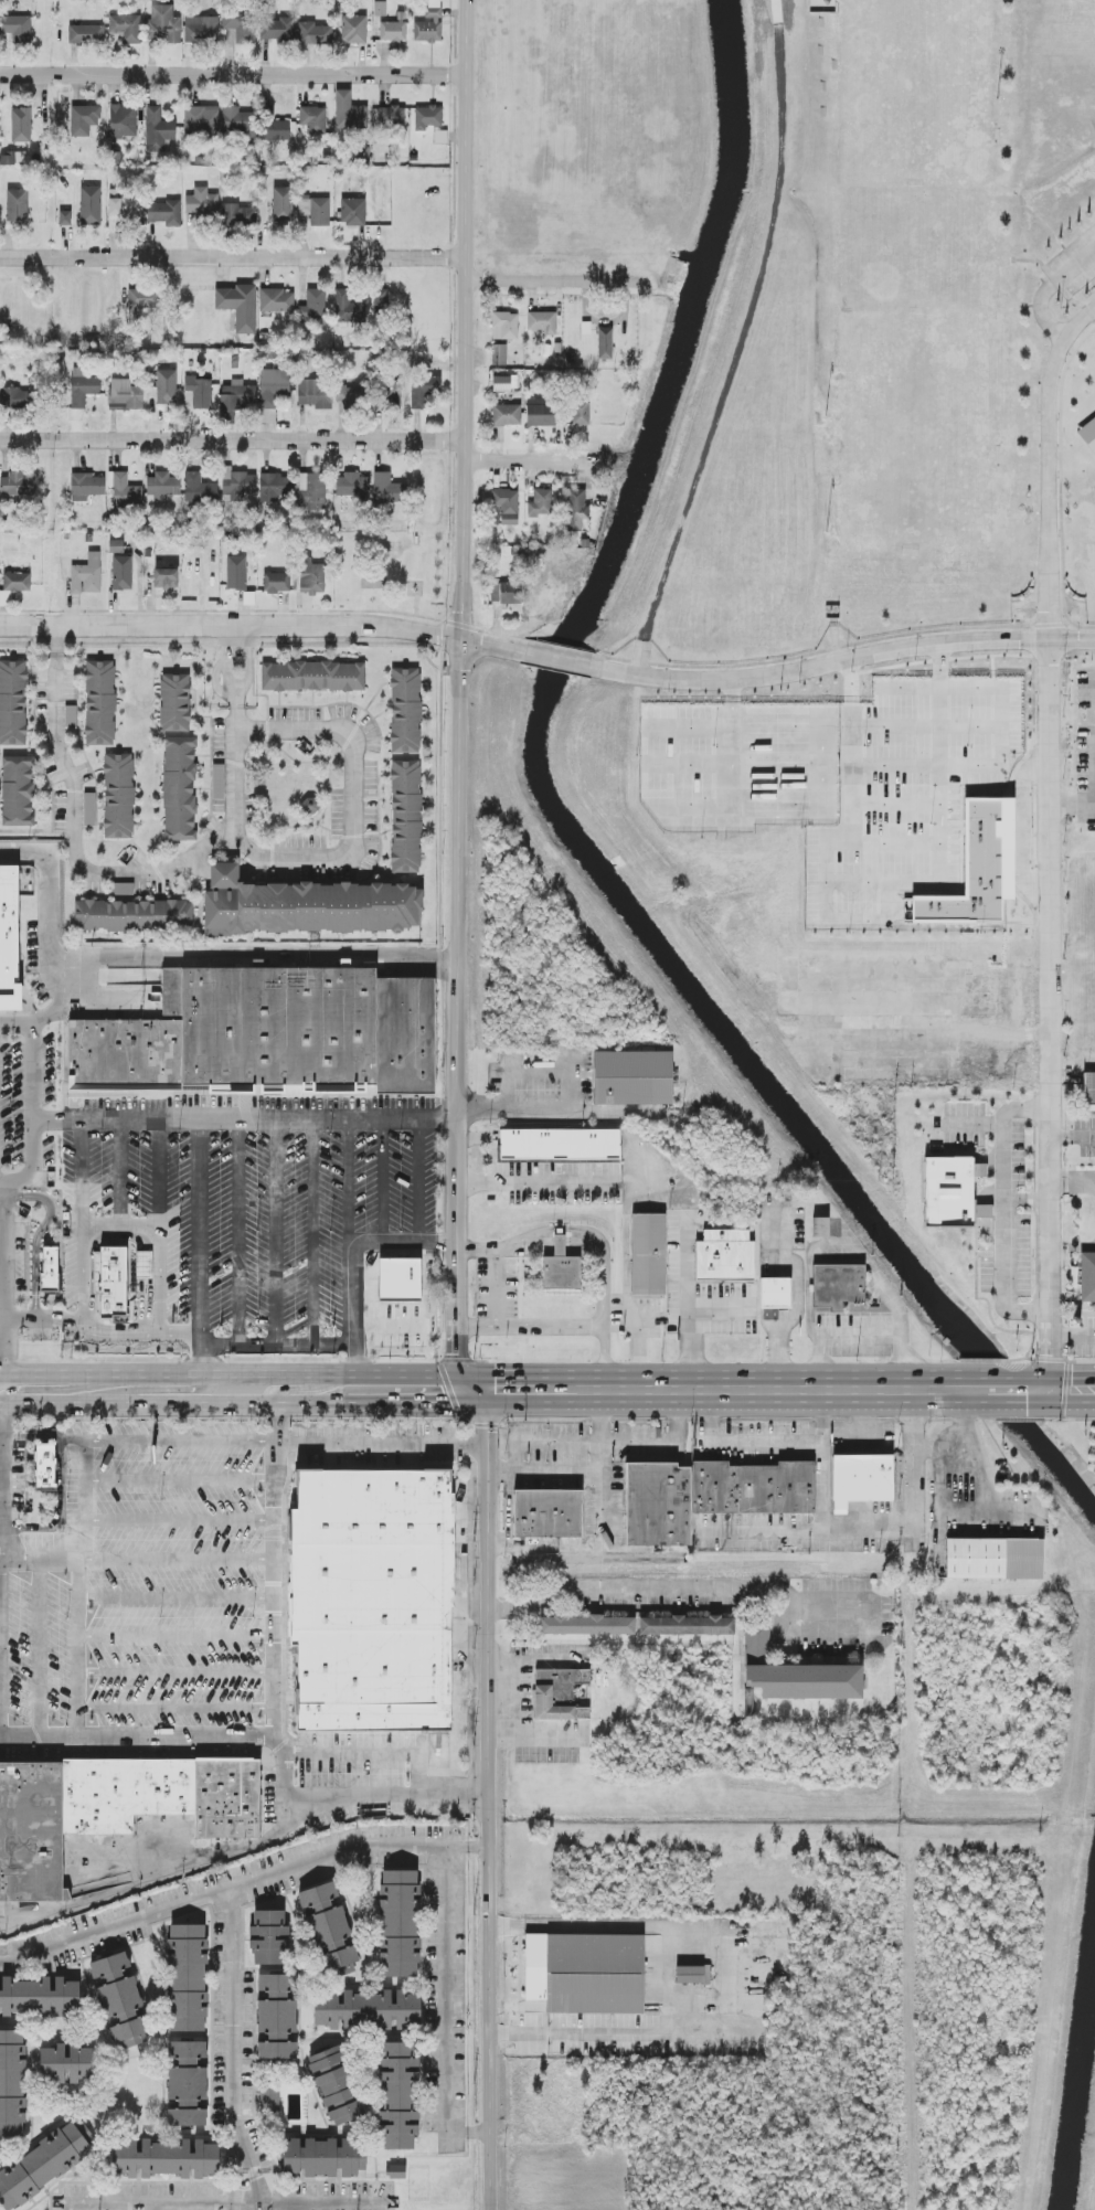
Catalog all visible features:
building: (380, 8)
building: (429, 23)
building: (163, 24)
building: (241, 26)
building: (17, 28)
building: (126, 28)
building: (276, 29)
building: (201, 30)
building: (353, 30)
building: (392, 31)
building: (313, 33)
building: (85, 34)
road: (233, 75)
park: (916, 92)
street lamp: (998, 103)
building: (349, 111)
building: (391, 116)
building: (427, 117)
building: (83, 119)
building: (312, 119)
building: (201, 121)
building: (123, 123)
road: (1093, 123)
building: (238, 124)
building: (21, 125)
road: (466, 128)
building: (158, 129)
building: (276, 130)
building: (361, 153)
building: (20, 157)
building: (201, 202)
building: (17, 205)
building: (283, 205)
building: (89, 206)
building: (315, 210)
building: (123, 212)
building: (163, 212)
building: (353, 212)
building: (238, 215)
building: (64, 217)
road: (232, 256)
road: (464, 268)
road: (552, 281)
road: (1055, 281)
road: (1048, 288)
building: (143, 298)
building: (275, 300)
building: (381, 300)
building: (313, 305)
building: (238, 306)
building: (349, 308)
building: (542, 321)
road: (744, 325)
building: (504, 326)
building: (605, 343)
building: (499, 354)
road: (463, 360)
building: (501, 383)
building: (166, 386)
building: (83, 387)
building: (423, 390)
building: (272, 392)
building: (196, 393)
building: (315, 393)
building: (394, 394)
building: (125, 395)
building: (350, 396)
building: (17, 399)
building: (235, 400)
building: (541, 412)
building: (580, 413)
building: (507, 415)
street lamp: (827, 415)
park: (912, 432)
building: (1088, 435)
road: (231, 439)
road: (461, 450)
road: (518, 461)
road: (1049, 466)
building: (17, 485)
building: (237, 485)
building: (351, 485)
building: (86, 486)
building: (162, 487)
building: (273, 487)
building: (387, 488)
building: (199, 489)
building: (126, 491)
building: (311, 491)
building: (540, 503)
building: (506, 507)
building: (574, 509)
street lamp: (827, 534)
building: (116, 546)
building: (121, 573)
building: (236, 573)
building: (86, 575)
building: (166, 578)
building: (313, 578)
building: (17, 582)
building: (276, 582)
building: (506, 593)
road: (230, 626)
road: (487, 645)
road: (641, 657)
road: (555, 658)
road: (844, 659)
road: (226, 660)
road: (248, 661)
building: (312, 676)
road: (215, 683)
road: (236, 700)
building: (12, 702)
building: (99, 702)
building: (174, 702)
building: (405, 710)
road: (852, 714)
building: (70, 716)
road: (236, 718)
road: (854, 772)
building: (217, 782)
building: (179, 788)
building: (18, 790)
building: (118, 796)
road: (1073, 803)
building: (310, 806)
building: (88, 809)
building: (405, 816)
road: (249, 849)
road: (199, 865)
road: (252, 867)
road: (224, 872)
road: (55, 878)
building: (123, 889)
building: (308, 906)
building: (132, 915)
road: (459, 926)
building: (14, 946)
road: (257, 958)
road: (1051, 1014)
road: (17, 1028)
building: (267, 1033)
road: (33, 1064)
building: (924, 1071)
building: (632, 1077)
building: (1088, 1092)
road: (514, 1107)
road: (245, 1118)
road: (1073, 1137)
building: (559, 1144)
road: (489, 1145)
road: (81, 1180)
road: (121, 1180)
road: (349, 1180)
road: (382, 1180)
road: (421, 1180)
road: (535, 1181)
road: (1073, 1182)
road: (14, 1186)
building: (953, 1192)
building: (1094, 1224)
building: (820, 1228)
road: (276, 1231)
road: (312, 1231)
road: (38, 1232)
road: (160, 1232)
road: (240, 1232)
road: (119, 1241)
road: (403, 1243)
road: (1073, 1245)
road: (506, 1246)
road: (559, 1247)
road: (840, 1251)
building: (648, 1254)
road: (200, 1255)
building: (724, 1255)
building: (143, 1265)
building: (561, 1267)
building: (50, 1269)
building: (1087, 1276)
building: (110, 1281)
building: (837, 1285)
road: (496, 1286)
road: (74, 1292)
building: (775, 1293)
building: (402, 1308)
road: (688, 1313)
road: (350, 1316)
road: (599, 1316)
road: (36, 1318)
road: (477, 1326)
road: (1073, 1337)
road: (212, 1345)
road: (390, 1350)
road: (604, 1352)
road: (139, 1390)
road: (625, 1391)
road: (997, 1391)
traffic signals: (1052, 1391)
road: (1060, 1391)
road: (914, 1422)
road: (42, 1432)
road: (181, 1438)
road: (663, 1441)
road: (545, 1442)
road: (384, 1443)
road: (975, 1451)
road: (890, 1452)
building: (45, 1467)
road: (545, 1470)
road: (181, 1480)
building: (860, 1481)
building: (708, 1495)
road: (83, 1501)
road: (509, 1507)
building: (547, 1512)
road: (182, 1520)
road: (605, 1531)
building: (993, 1559)
road: (180, 1562)
road: (39, 1563)
road: (680, 1592)
road: (180, 1597)
building: (379, 1597)
building: (586, 1624)
building: (685, 1624)
road: (180, 1637)
road: (42, 1654)
road: (77, 1654)
road: (180, 1672)
building: (791, 1675)
road: (1, 1683)
building: (559, 1693)
road: (283, 1707)
road: (180, 1708)
road: (371, 1753)
building: (163, 1796)
road: (343, 1796)
road: (489, 1800)
building: (32, 1831)
road: (147, 1883)
road: (243, 1889)
building: (400, 1923)
building: (330, 1929)
building: (269, 1936)
road: (738, 1966)
building: (585, 1973)
building: (692, 1974)
building: (187, 1976)
building: (40, 1996)
building: (120, 1999)
building: (366, 2009)
road: (446, 2011)
building: (276, 2017)
road: (230, 2055)
building: (66, 2062)
building: (12, 2083)
building: (187, 2083)
building: (336, 2086)
building: (397, 2095)
building: (268, 2097)
building: (321, 2156)
building: (164, 2157)
building: (42, 2165)
building: (396, 2171)
road: (217, 2206)

